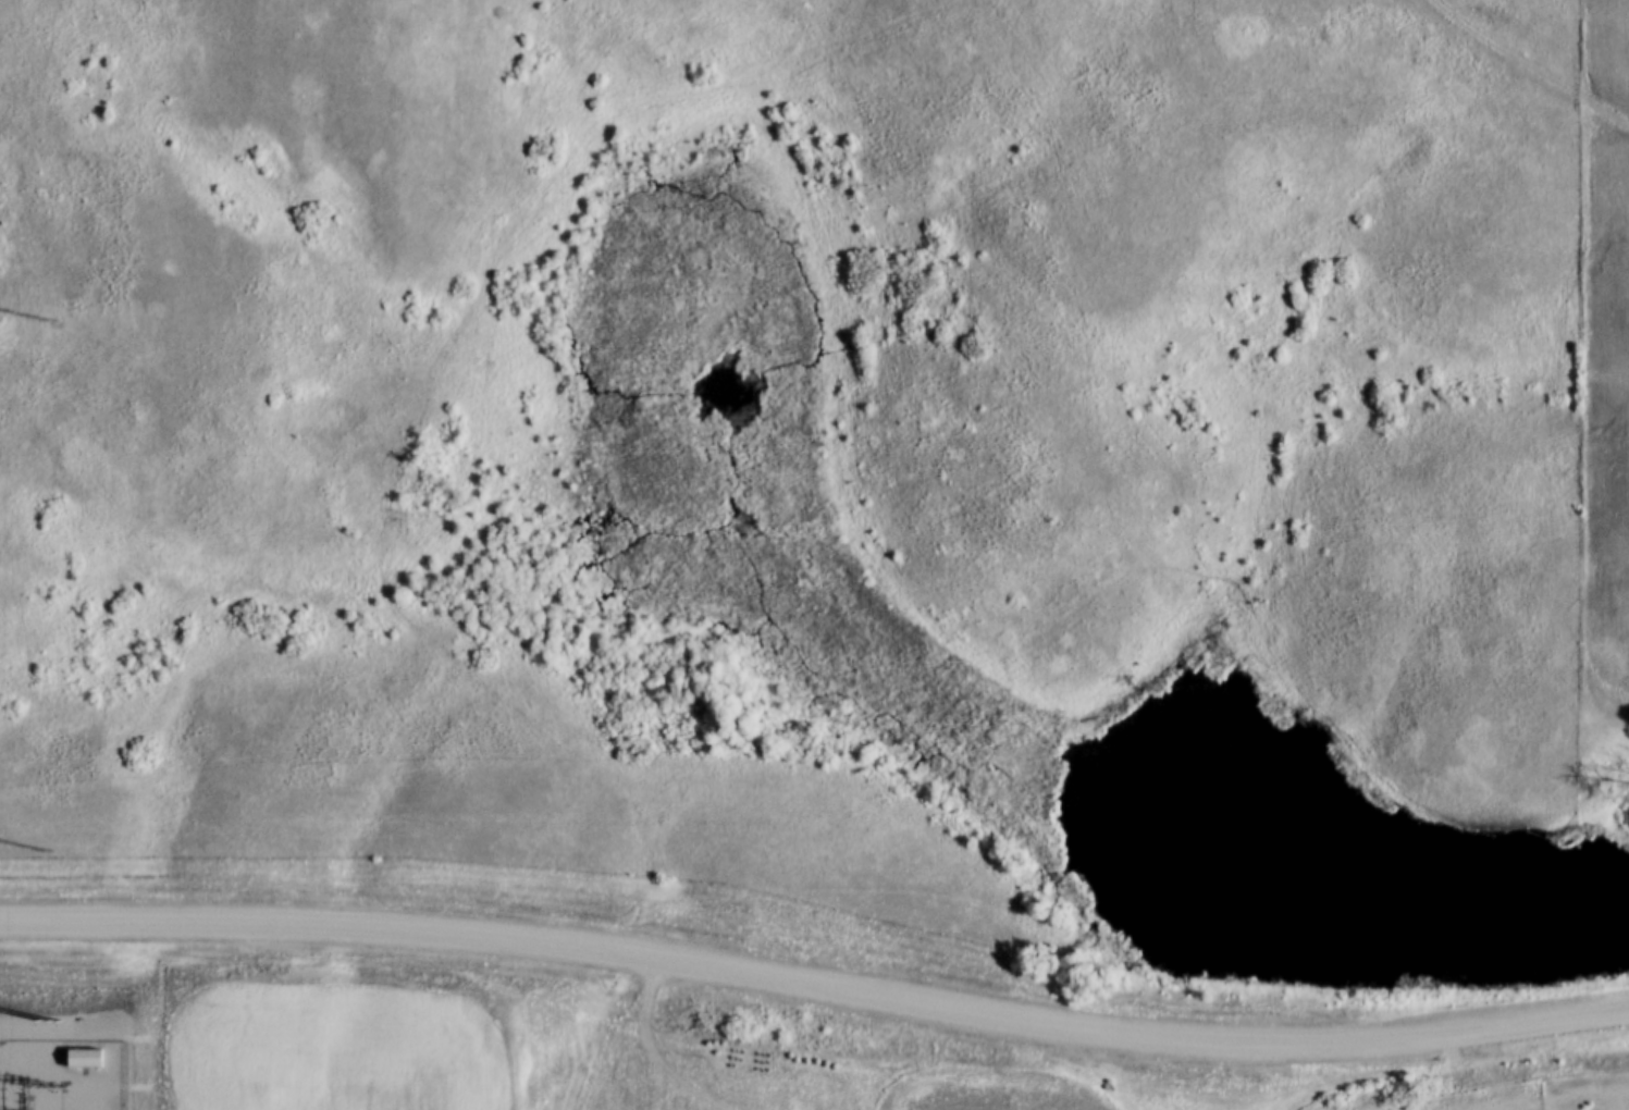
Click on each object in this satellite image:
road: (1533, 90)
road: (815, 979)
building: (92, 1060)
power substation: (65, 1075)

